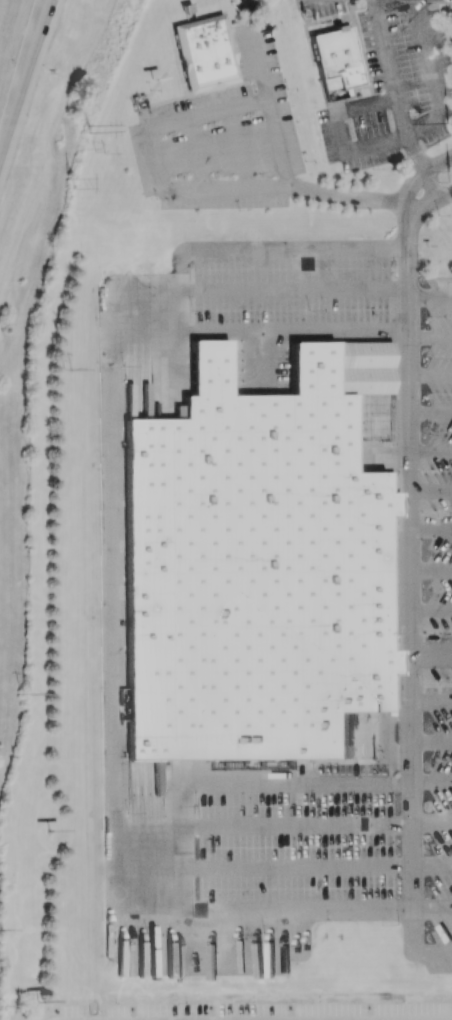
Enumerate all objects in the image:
building: (203, 52)
road: (258, 58)
building: (334, 58)
road: (433, 79)
road: (25, 81)
parking lot: (390, 82)
road: (398, 104)
power tower: (451, 122)
power tower: (89, 125)
road: (341, 130)
parking lot: (224, 136)
road: (238, 145)
road: (198, 152)
power tower: (100, 153)
road: (154, 174)
road: (419, 176)
power tower: (69, 183)
road: (432, 203)
road: (296, 290)
road: (182, 292)
road: (431, 296)
road: (128, 308)
road: (430, 336)
building: (361, 368)
power tower: (66, 373)
road: (431, 374)
road: (431, 412)
road: (431, 452)
road: (431, 490)
road: (431, 527)
parking lot: (424, 548)
building: (251, 570)
road: (431, 570)
road: (411, 579)
road: (111, 585)
road: (431, 610)
road: (431, 653)
power tower: (28, 693)
road: (431, 701)
road: (431, 740)
road: (432, 778)
road: (297, 782)
road: (432, 822)
road: (298, 825)
road: (184, 835)
road: (432, 862)
road: (298, 866)
road: (135, 870)
road: (298, 911)
road: (413, 947)
road: (241, 952)

